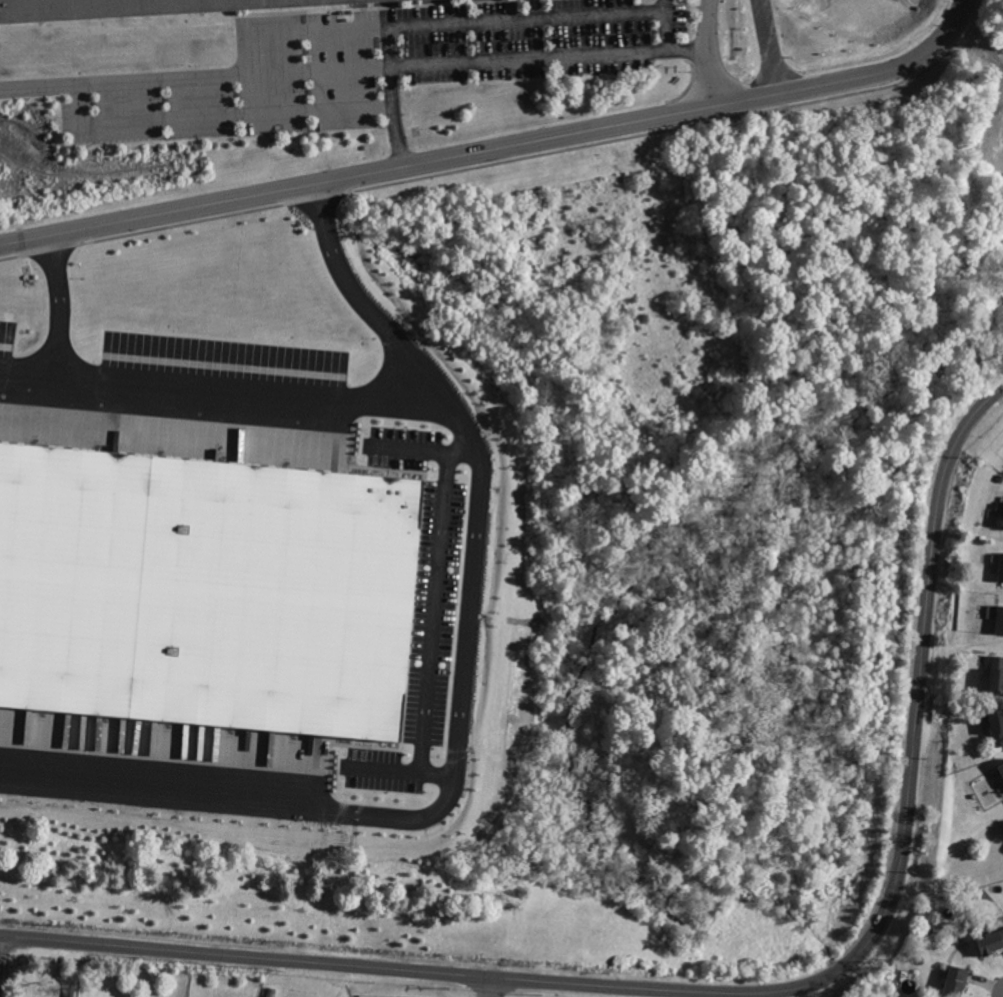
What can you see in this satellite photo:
building: (121, 7)
road: (433, 22)
road: (665, 25)
road: (387, 46)
road: (761, 51)
road: (708, 56)
road: (353, 68)
road: (219, 113)
road: (392, 119)
road: (503, 153)
road: (58, 307)
road: (215, 390)
road: (408, 449)
building: (1002, 521)
building: (1000, 567)
building: (205, 590)
road: (434, 599)
building: (999, 621)
building: (995, 673)
road: (461, 696)
building: (996, 726)
building: (1000, 767)
road: (398, 769)
building: (1001, 785)
building: (991, 940)
building: (954, 979)
road: (490, 987)
road: (734, 994)

